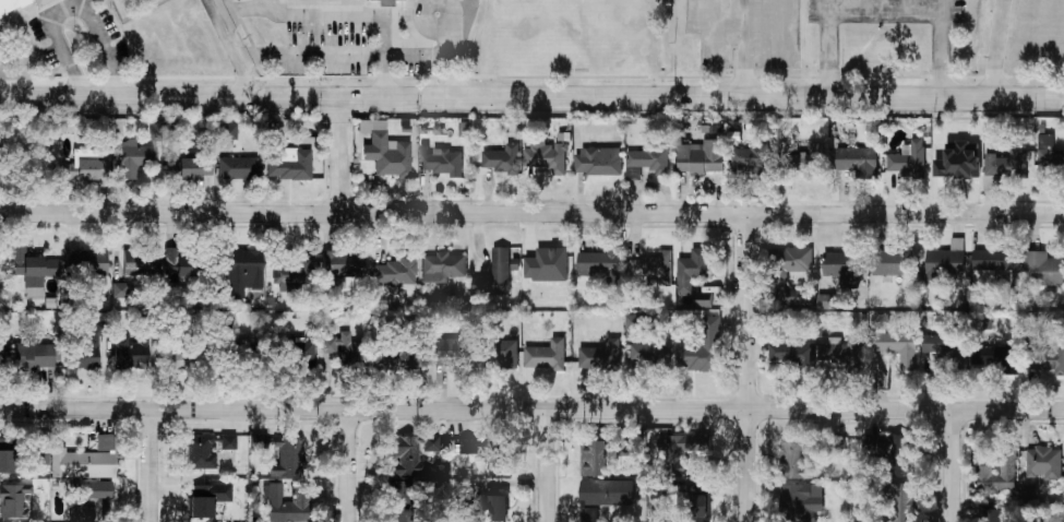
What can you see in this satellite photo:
building: (390, 0)
building: (130, 3)
building: (17, 4)
road: (423, 7)
road: (75, 8)
road: (865, 8)
road: (912, 8)
parking lot: (883, 12)
road: (887, 15)
road: (354, 16)
parking lot: (745, 36)
road: (456, 47)
road: (743, 48)
road: (829, 48)
road: (944, 48)
road: (1000, 48)
road: (231, 49)
road: (311, 57)
road: (531, 97)
building: (228, 131)
building: (139, 154)
building: (387, 155)
road: (342, 156)
building: (545, 156)
building: (1049, 156)
building: (702, 157)
building: (752, 157)
building: (503, 159)
building: (3, 161)
building: (805, 161)
building: (908, 161)
building: (442, 162)
building: (599, 162)
building: (647, 162)
building: (857, 162)
building: (959, 162)
building: (289, 163)
building: (89, 165)
building: (1007, 165)
building: (238, 167)
building: (182, 168)
road: (531, 214)
building: (85, 258)
building: (791, 259)
building: (141, 261)
building: (343, 263)
building: (893, 263)
building: (944, 263)
building: (181, 265)
building: (547, 265)
building: (599, 265)
building: (32, 266)
building: (442, 266)
building: (844, 268)
building: (995, 268)
building: (246, 269)
building: (396, 269)
building: (1042, 269)
building: (651, 270)
building: (295, 274)
building: (498, 274)
building: (693, 277)
building: (120, 289)
building: (826, 301)
building: (636, 321)
building: (880, 321)
building: (899, 347)
building: (344, 348)
building: (703, 348)
building: (947, 349)
building: (130, 352)
building: (450, 352)
building: (840, 353)
building: (83, 354)
building: (302, 354)
building: (505, 354)
building: (547, 355)
building: (791, 355)
building: (33, 356)
building: (192, 356)
building: (601, 356)
building: (649, 356)
building: (1048, 358)
building: (394, 359)
building: (1000, 360)
road: (745, 369)
road: (531, 412)
building: (105, 441)
building: (227, 441)
building: (837, 446)
building: (201, 451)
building: (686, 452)
building: (410, 453)
building: (289, 458)
building: (597, 458)
building: (794, 459)
building: (8, 461)
building: (82, 463)
building: (1044, 463)
road: (152, 466)
road: (352, 466)
road: (548, 466)
road: (955, 467)
building: (999, 475)
building: (607, 493)
building: (1029, 493)
building: (207, 498)
building: (802, 498)
building: (14, 500)
building: (696, 501)
building: (75, 502)
building: (402, 502)
building: (904, 502)
building: (285, 506)
building: (497, 508)
building: (589, 515)
building: (994, 515)

